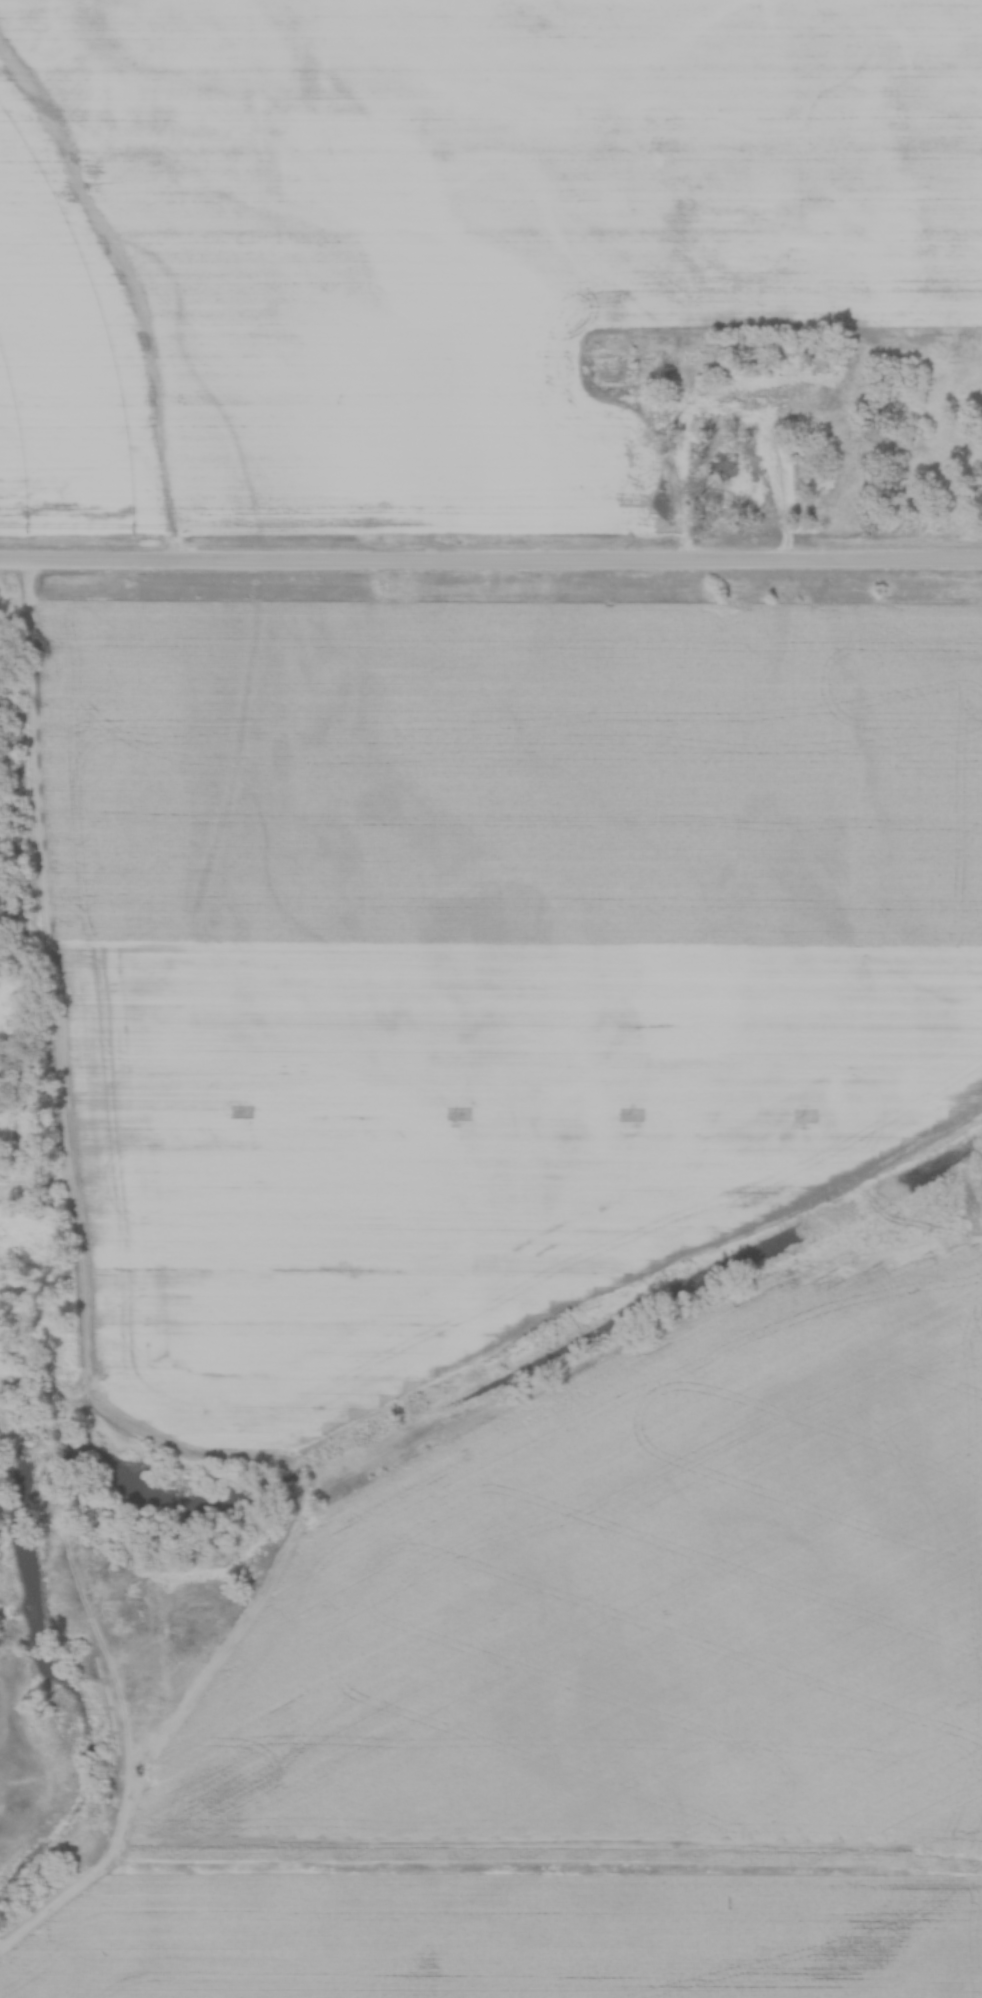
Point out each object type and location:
building: (729, 466)
road: (491, 559)

